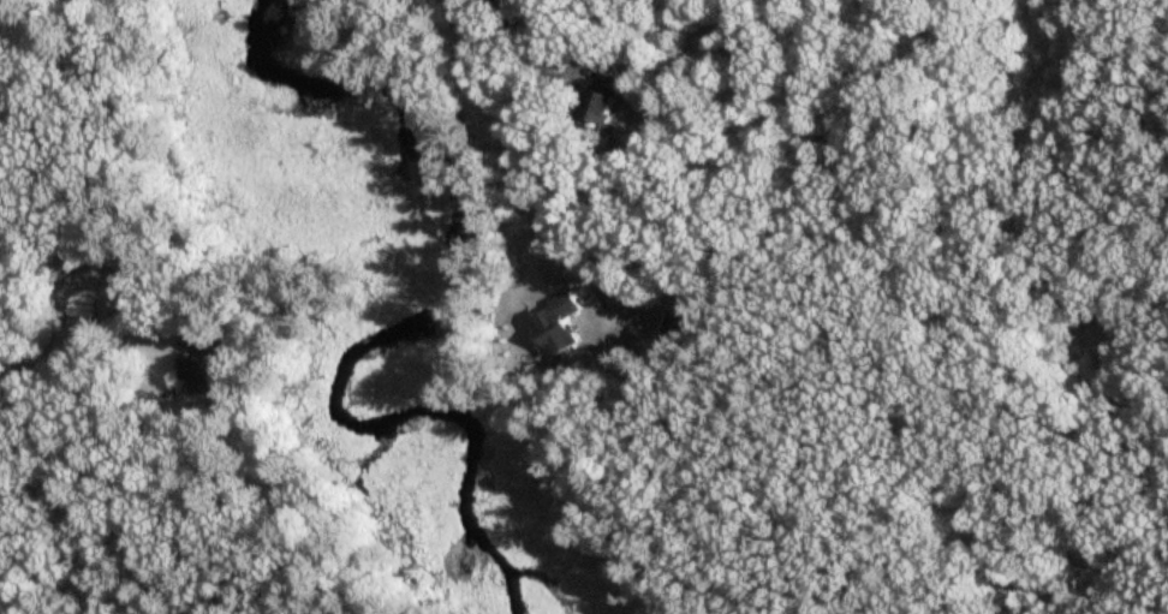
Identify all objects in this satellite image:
road: (544, 36)
road: (501, 124)
road: (910, 306)
building: (555, 327)
building: (191, 340)
road: (76, 350)
building: (202, 372)

